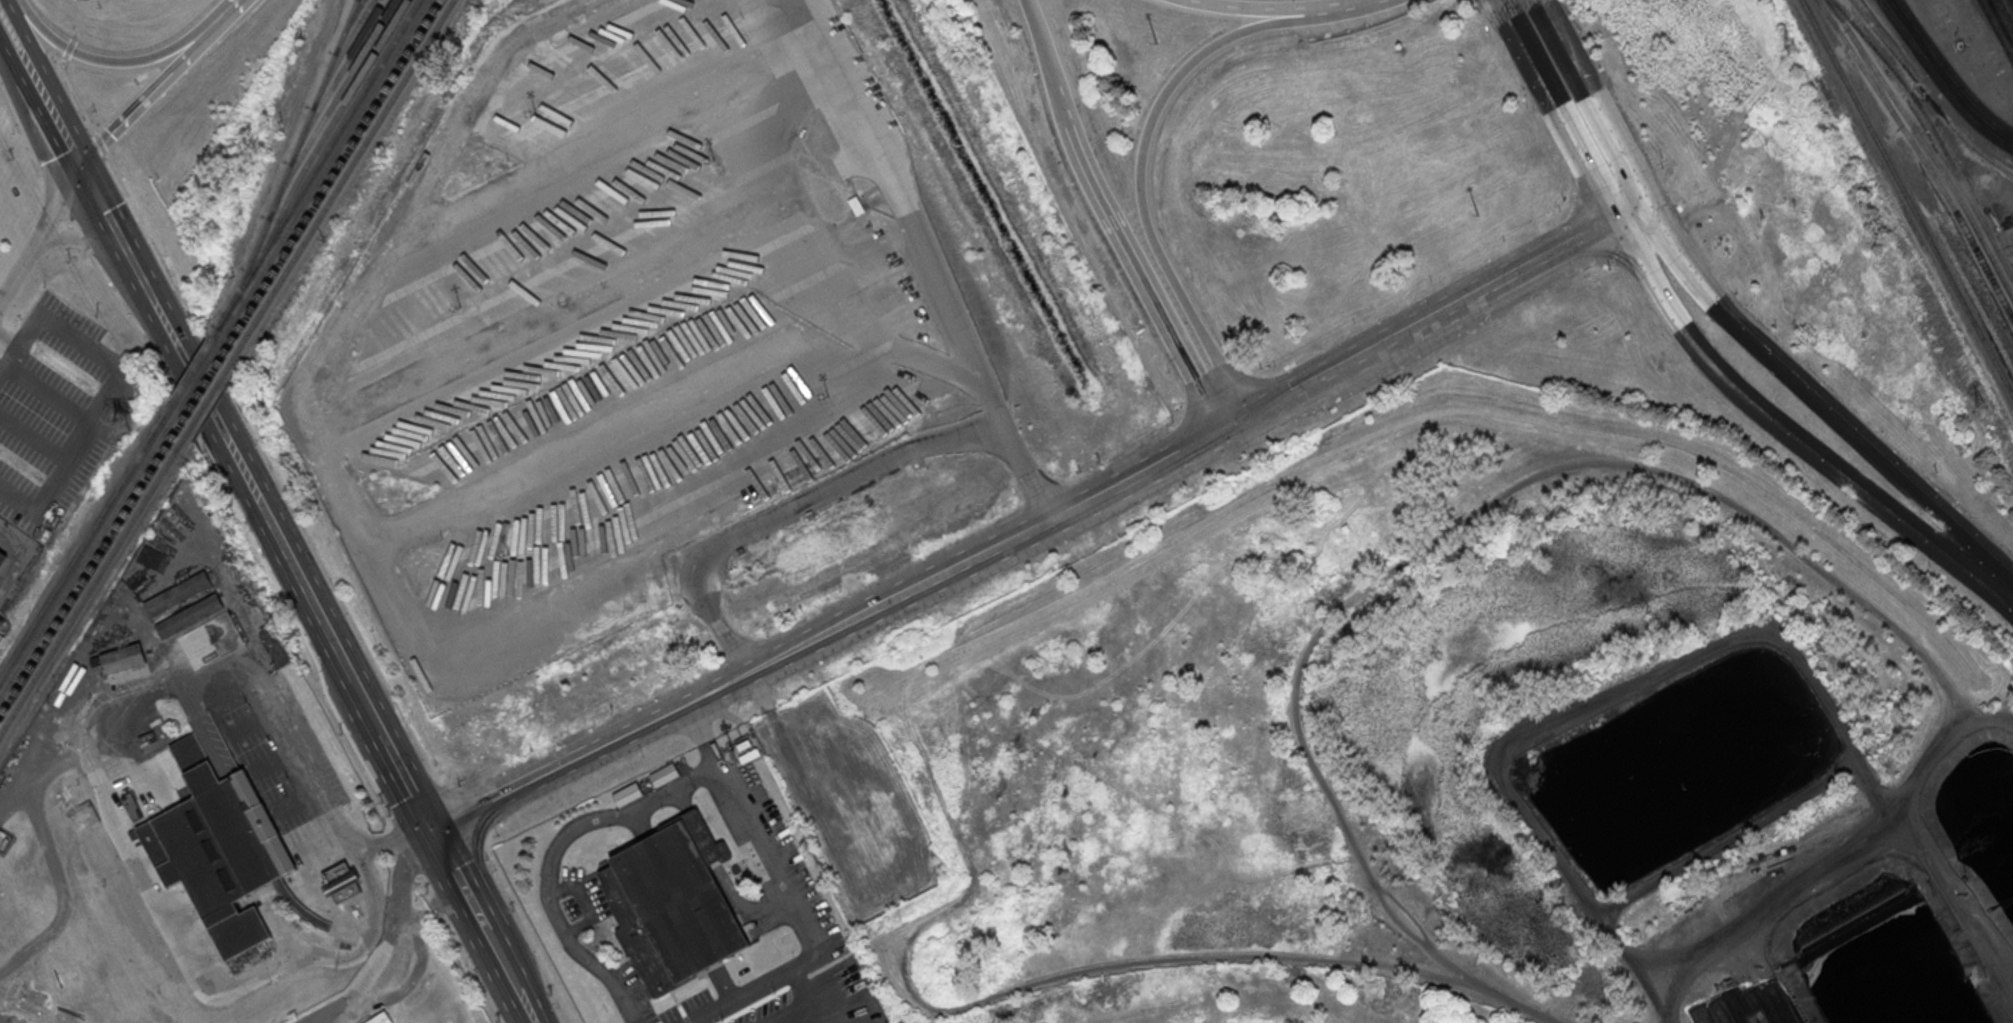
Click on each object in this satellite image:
road: (1538, 2)
road: (1322, 8)
road: (1230, 10)
road: (1503, 11)
road: (2006, 11)
road: (52, 20)
road: (17, 22)
railway: (348, 26)
road: (1040, 41)
road: (9, 42)
road: (67, 48)
power tower: (1791, 48)
railway: (341, 53)
road: (118, 62)
road: (26, 63)
parking lot: (621, 65)
road: (732, 77)
road: (1941, 78)
railway: (336, 80)
road: (158, 83)
road: (72, 96)
road: (1591, 101)
road: (1060, 105)
railway: (330, 108)
street lamp: (534, 112)
road: (1562, 116)
road: (55, 125)
railway: (1935, 132)
railway: (325, 133)
road: (19, 138)
road: (96, 143)
railway: (1926, 146)
railway: (1922, 155)
street lamp: (713, 158)
road: (1081, 160)
railway: (1993, 162)
railway: (289, 164)
railway: (315, 169)
traffic signals: (78, 171)
railway: (323, 173)
railway: (332, 177)
railway: (341, 181)
road: (1143, 193)
traffic signals: (1643, 197)
railway: (1908, 198)
road: (50, 201)
road: (1628, 205)
traffic signals: (1614, 213)
road: (106, 222)
road: (65, 223)
parking lot: (582, 223)
road: (141, 227)
road: (37, 231)
road: (74, 239)
road: (77, 240)
road: (935, 260)
road: (1129, 260)
road: (148, 295)
road: (557, 310)
road: (1430, 315)
road: (160, 317)
road: (1751, 339)
road: (9, 343)
parking lot: (620, 351)
road: (9, 362)
railway: (191, 371)
road: (1193, 378)
railway: (197, 379)
railway: (202, 388)
railway: (208, 397)
power tower: (1980, 404)
road: (104, 406)
road: (637, 415)
road: (1765, 417)
power tower: (127, 424)
parking lot: (689, 464)
road: (251, 487)
road: (1934, 508)
road: (794, 509)
road: (247, 534)
railway: (86, 543)
road: (23, 554)
railway: (88, 555)
building: (2, 556)
railway: (90, 569)
road: (388, 577)
road: (1994, 581)
railway: (93, 582)
road: (917, 588)
building: (177, 593)
road: (309, 599)
building: (190, 615)
building: (123, 659)
road: (213, 707)
road: (367, 709)
road: (270, 711)
road: (249, 724)
road: (199, 726)
road: (271, 764)
road: (406, 783)
road: (508, 792)
building: (627, 794)
road: (292, 802)
road: (398, 830)
traffic signals: (431, 831)
road: (389, 839)
road: (316, 841)
building: (218, 848)
road: (51, 852)
road: (553, 857)
building: (342, 882)
road: (460, 882)
road: (786, 892)
building: (673, 903)
road: (433, 909)
road: (387, 941)
road: (185, 945)
road: (30, 947)
road: (510, 978)
road: (802, 1001)
building: (381, 1018)

